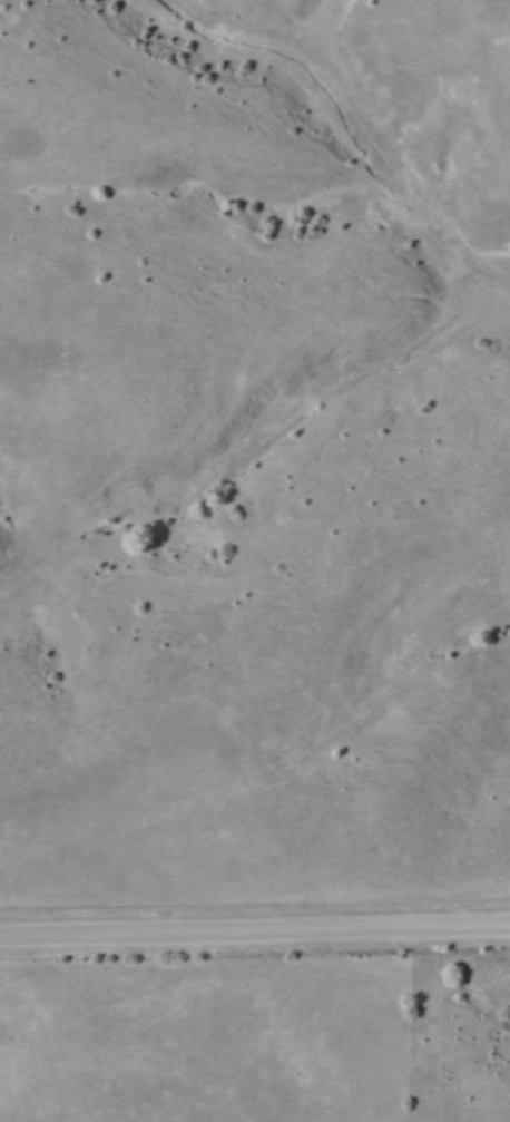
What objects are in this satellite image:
road: (255, 926)

